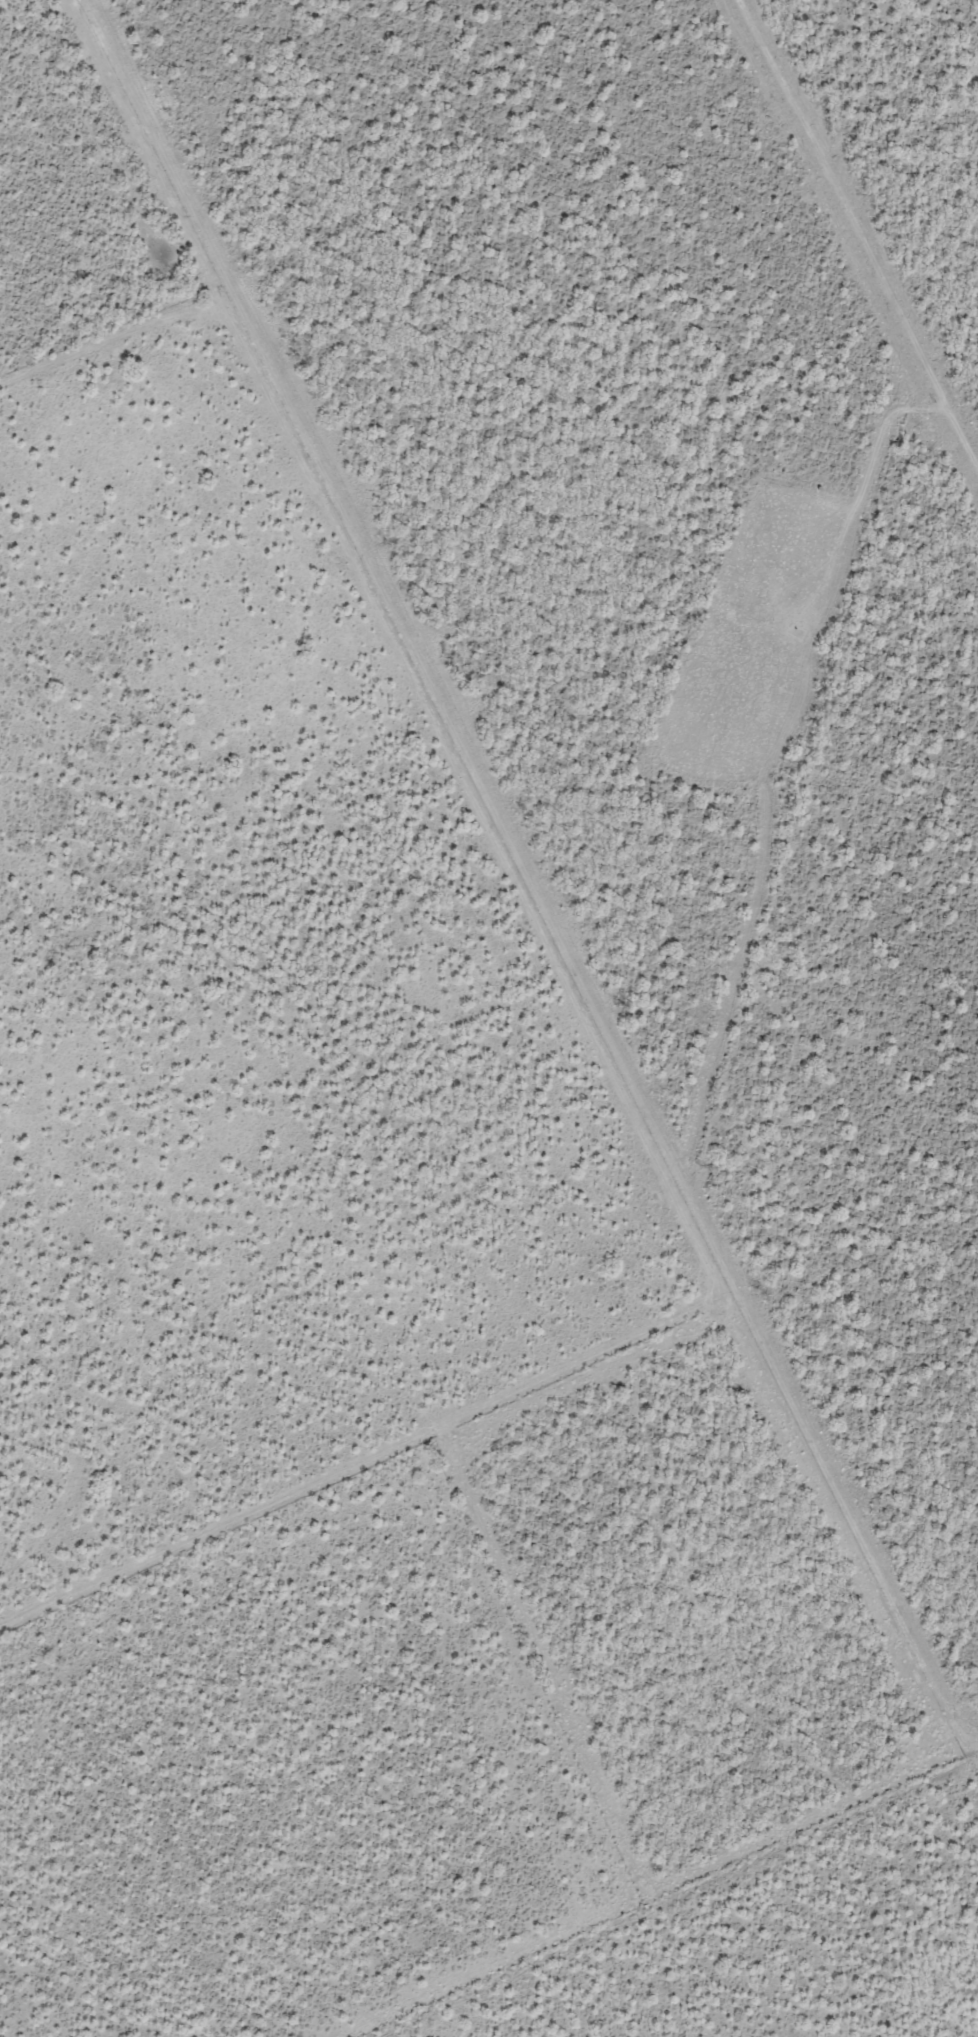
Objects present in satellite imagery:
road: (842, 291)

